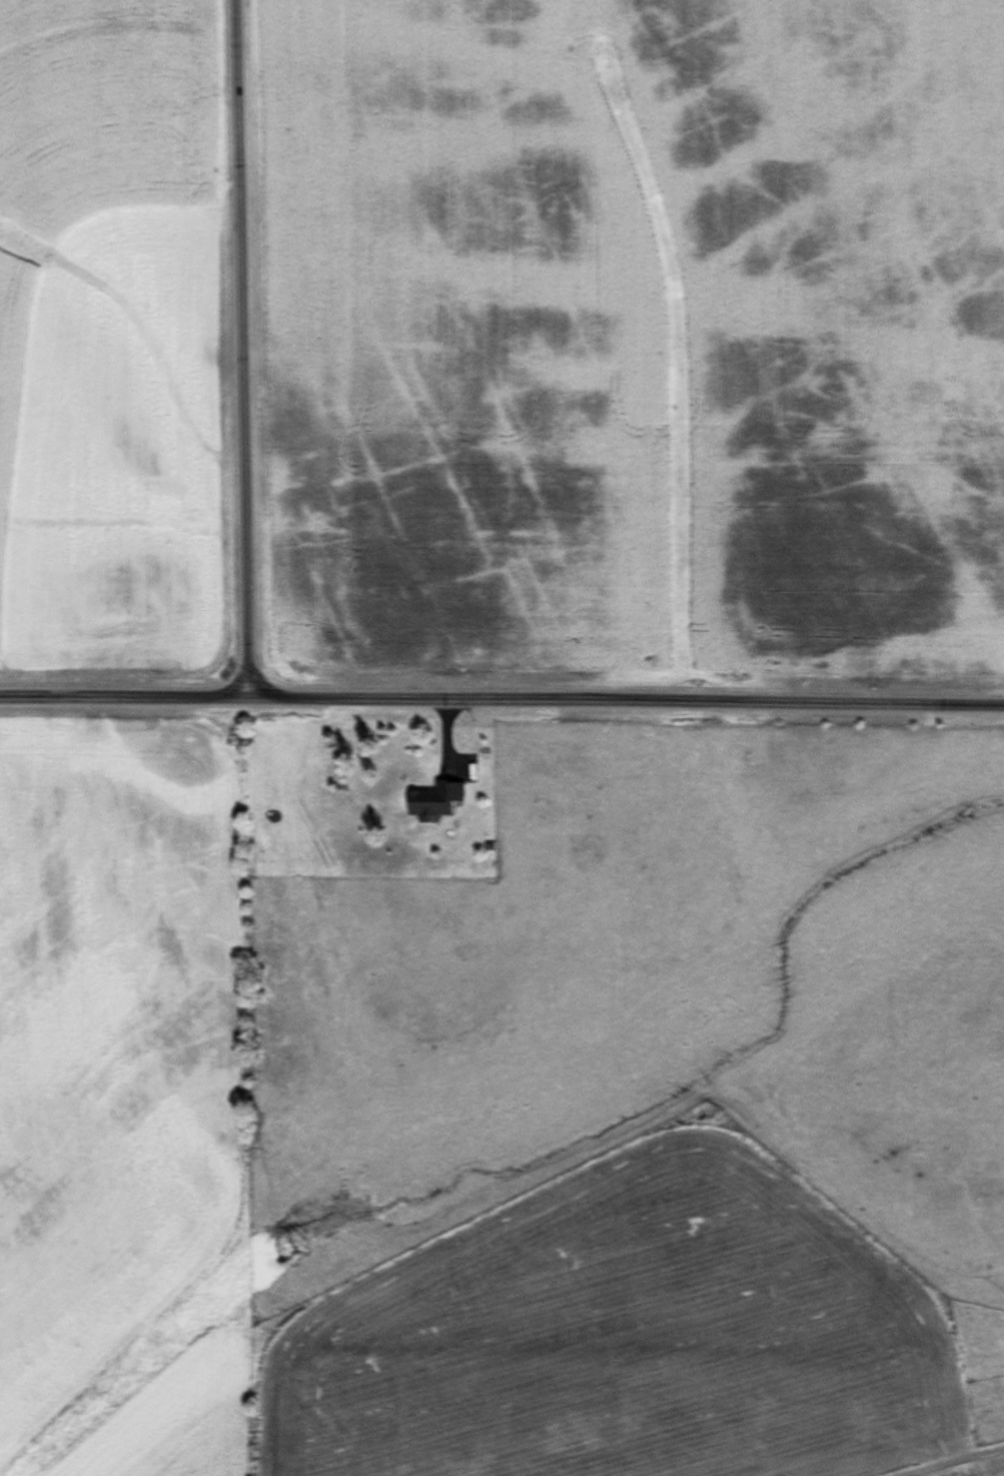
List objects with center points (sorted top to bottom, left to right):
road: (214, 338)
road: (502, 680)
building: (431, 800)

